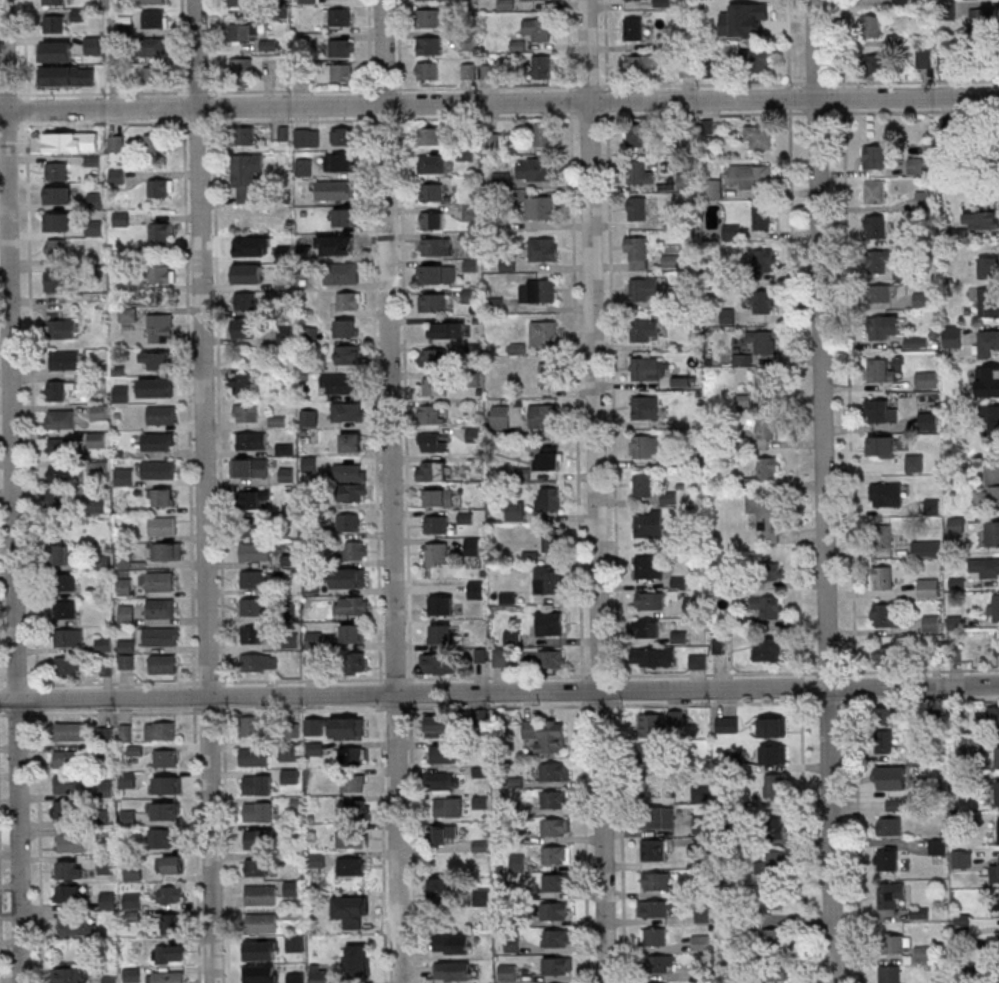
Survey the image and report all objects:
building: (431, 0)
building: (535, 0)
building: (307, 1)
building: (54, 2)
building: (154, 2)
building: (240, 2)
building: (429, 17)
building: (342, 18)
building: (155, 19)
building: (744, 19)
building: (983, 19)
building: (55, 23)
building: (871, 26)
building: (633, 28)
building: (246, 30)
building: (534, 32)
road: (842, 42)
road: (571, 43)
road: (606, 43)
road: (788, 43)
road: (370, 45)
road: (400, 45)
building: (153, 46)
road: (184, 47)
road: (213, 47)
building: (341, 47)
building: (430, 47)
road: (27, 48)
building: (68, 49)
building: (756, 60)
building: (634, 63)
building: (878, 63)
building: (241, 65)
building: (541, 67)
building: (427, 71)
building: (487, 71)
building: (339, 72)
building: (153, 74)
road: (915, 81)
road: (703, 83)
road: (818, 83)
road: (587, 84)
road: (485, 86)
road: (386, 88)
road: (292, 90)
road: (199, 91)
road: (104, 93)
road: (9, 94)
road: (843, 95)
road: (789, 97)
road: (573, 100)
road: (607, 100)
road: (499, 102)
road: (371, 103)
road: (401, 103)
road: (185, 106)
road: (214, 106)
road: (27, 108)
road: (916, 110)
road: (819, 111)
road: (704, 113)
road: (590, 115)
road: (486, 117)
road: (385, 119)
road: (293, 120)
road: (199, 122)
road: (103, 123)
road: (9, 124)
building: (243, 135)
building: (343, 135)
building: (429, 135)
building: (543, 135)
building: (757, 135)
building: (636, 136)
building: (306, 137)
building: (493, 141)
building: (60, 143)
building: (117, 143)
building: (155, 143)
building: (875, 156)
building: (339, 162)
building: (432, 163)
building: (917, 165)
building: (303, 167)
building: (535, 169)
building: (57, 171)
building: (640, 172)
building: (117, 176)
building: (751, 176)
building: (247, 177)
building: (501, 178)
building: (684, 181)
building: (161, 188)
building: (714, 188)
building: (335, 189)
building: (432, 192)
building: (875, 192)
building: (58, 195)
building: (924, 200)
building: (539, 207)
building: (637, 208)
building: (344, 217)
building: (121, 218)
building: (762, 218)
building: (981, 219)
building: (432, 220)
building: (56, 222)
building: (875, 227)
building: (94, 228)
building: (160, 232)
building: (436, 247)
building: (56, 248)
building: (543, 249)
building: (268, 250)
building: (636, 252)
building: (759, 261)
building: (879, 264)
building: (989, 267)
building: (162, 273)
building: (341, 273)
building: (437, 274)
building: (56, 280)
road: (848, 281)
building: (644, 289)
building: (537, 290)
building: (882, 293)
building: (469, 295)
building: (924, 298)
building: (349, 300)
building: (245, 302)
building: (432, 302)
building: (763, 302)
building: (988, 302)
building: (127, 314)
building: (884, 327)
building: (63, 328)
building: (160, 328)
building: (246, 328)
building: (346, 328)
building: (446, 329)
building: (645, 330)
building: (543, 333)
building: (310, 334)
building: (953, 337)
building: (916, 342)
building: (988, 342)
building: (761, 343)
road: (821, 344)
road: (593, 345)
building: (349, 354)
building: (432, 357)
building: (156, 360)
building: (66, 361)
building: (884, 369)
building: (646, 370)
building: (548, 374)
building: (988, 376)
building: (927, 379)
building: (340, 383)
building: (244, 384)
building: (765, 385)
building: (100, 386)
building: (434, 386)
building: (162, 388)
building: (58, 389)
road: (795, 391)
road: (577, 395)
road: (613, 396)
road: (375, 397)
road: (406, 398)
road: (219, 401)
road: (189, 402)
road: (32, 404)
building: (646, 408)
building: (348, 411)
building: (881, 412)
building: (101, 413)
building: (246, 413)
building: (429, 414)
building: (162, 416)
building: (543, 416)
building: (310, 417)
building: (500, 417)
building: (61, 418)
building: (277, 421)
building: (928, 421)
building: (767, 427)
building: (95, 440)
building: (252, 440)
building: (351, 442)
building: (429, 442)
building: (159, 443)
building: (62, 446)
building: (645, 447)
building: (882, 447)
building: (285, 448)
building: (550, 456)
building: (914, 463)
building: (249, 467)
building: (768, 468)
building: (158, 469)
building: (432, 470)
building: (98, 471)
building: (60, 474)
building: (124, 477)
building: (348, 479)
building: (643, 485)
building: (993, 485)
road: (12, 491)
road: (205, 491)
road: (392, 491)
building: (886, 494)
building: (162, 497)
building: (438, 497)
building: (61, 498)
building: (252, 499)
building: (548, 499)
building: (98, 506)
building: (933, 506)
building: (515, 510)
building: (765, 515)
building: (349, 521)
building: (436, 524)
building: (648, 524)
building: (162, 526)
building: (254, 527)
building: (993, 533)
building: (883, 535)
building: (551, 540)
building: (926, 548)
building: (356, 550)
building: (168, 551)
building: (254, 552)
building: (436, 554)
building: (59, 555)
building: (123, 561)
building: (649, 566)
building: (988, 567)
road: (853, 568)
building: (771, 570)
building: (882, 578)
building: (252, 579)
building: (548, 579)
building: (160, 581)
building: (66, 582)
building: (347, 584)
building: (124, 586)
building: (928, 588)
building: (650, 601)
building: (351, 605)
building: (442, 605)
building: (693, 605)
building: (251, 606)
building: (995, 606)
building: (767, 607)
building: (161, 608)
building: (66, 610)
building: (126, 615)
building: (885, 615)
building: (549, 623)
building: (931, 623)
building: (647, 629)
building: (352, 633)
building: (440, 633)
building: (254, 634)
building: (161, 636)
building: (69, 638)
building: (313, 640)
building: (103, 644)
building: (991, 645)
building: (771, 649)
building: (884, 655)
building: (501, 657)
building: (655, 657)
building: (551, 659)
building: (697, 661)
building: (127, 662)
building: (252, 662)
building: (353, 662)
building: (311, 663)
building: (438, 663)
building: (163, 664)
building: (69, 665)
road: (919, 670)
road: (713, 673)
road: (827, 673)
road: (600, 675)
road: (497, 677)
road: (395, 679)
road: (302, 680)
road: (208, 681)
road: (113, 683)
road: (2, 684)
road: (16, 684)
road: (801, 686)
road: (855, 688)
road: (582, 689)
road: (620, 691)
road: (380, 692)
road: (411, 692)
road: (499, 692)
road: (224, 694)
road: (194, 696)
road: (37, 699)
road: (919, 699)
road: (716, 702)
road: (829, 702)
road: (498, 705)
road: (602, 705)
road: (396, 707)
road: (303, 709)
road: (210, 711)
road: (113, 712)
road: (17, 713)
road: (4, 714)
building: (882, 715)
building: (993, 716)
building: (730, 724)
building: (251, 725)
building: (436, 725)
building: (652, 725)
building: (771, 726)
building: (348, 727)
building: (160, 730)
building: (70, 731)
building: (125, 733)
building: (106, 734)
building: (550, 743)
building: (883, 743)
building: (971, 745)
building: (315, 748)
building: (290, 752)
building: (651, 752)
building: (444, 753)
building: (772, 754)
building: (354, 755)
building: (253, 756)
building: (998, 757)
building: (165, 758)
building: (67, 759)
building: (551, 771)
building: (481, 772)
building: (290, 776)
building: (442, 779)
building: (889, 779)
building: (128, 780)
building: (515, 782)
building: (353, 783)
building: (68, 784)
building: (258, 784)
building: (166, 785)
building: (773, 786)
building: (659, 787)
building: (106, 790)
building: (998, 791)
building: (552, 799)
building: (481, 802)
building: (894, 805)
building: (449, 806)
building: (513, 807)
building: (355, 809)
building: (62, 810)
building: (166, 810)
building: (258, 811)
building: (101, 817)
building: (657, 817)
building: (128, 818)
building: (553, 826)
building: (701, 826)
building: (889, 827)
building: (443, 832)
building: (516, 835)
road: (831, 835)
building: (998, 835)
road: (603, 836)
building: (164, 838)
building: (352, 838)
building: (260, 839)
road: (803, 840)
road: (857, 840)
road: (585, 841)
building: (71, 842)
road: (413, 842)
road: (622, 842)
road: (226, 843)
road: (384, 843)
road: (196, 844)
road: (40, 846)
building: (934, 846)
building: (653, 850)
building: (557, 855)
building: (696, 857)
building: (887, 858)
building: (318, 860)
building: (517, 862)
building: (773, 862)
building: (106, 865)
building: (172, 865)
building: (352, 865)
building: (256, 867)
building: (69, 869)
building: (998, 871)
building: (134, 873)
building: (658, 881)
building: (554, 882)
building: (292, 888)
building: (440, 889)
building: (508, 890)
building: (67, 894)
building: (170, 894)
building: (261, 895)
building: (890, 897)
building: (481, 899)
building: (108, 901)
building: (133, 901)
building: (770, 901)
building: (998, 904)
building: (655, 908)
building: (554, 911)
building: (290, 914)
building: (132, 916)
building: (359, 917)
building: (519, 920)
building: (171, 923)
building: (261, 923)
building: (77, 927)
building: (319, 927)
building: (727, 930)
building: (655, 936)
building: (555, 938)
building: (774, 939)
road: (0, 940)
building: (701, 942)
building: (453, 943)
building: (294, 944)
building: (512, 944)
building: (896, 945)
building: (261, 950)
building: (169, 953)
building: (923, 954)
building: (358, 960)
building: (659, 962)
building: (555, 966)
building: (453, 971)
building: (776, 971)
building: (508, 972)
building: (261, 974)
building: (66, 975)
building: (132, 975)
building: (890, 975)
building: (319, 976)
building: (168, 977)
building: (295, 978)
building: (110, 979)

